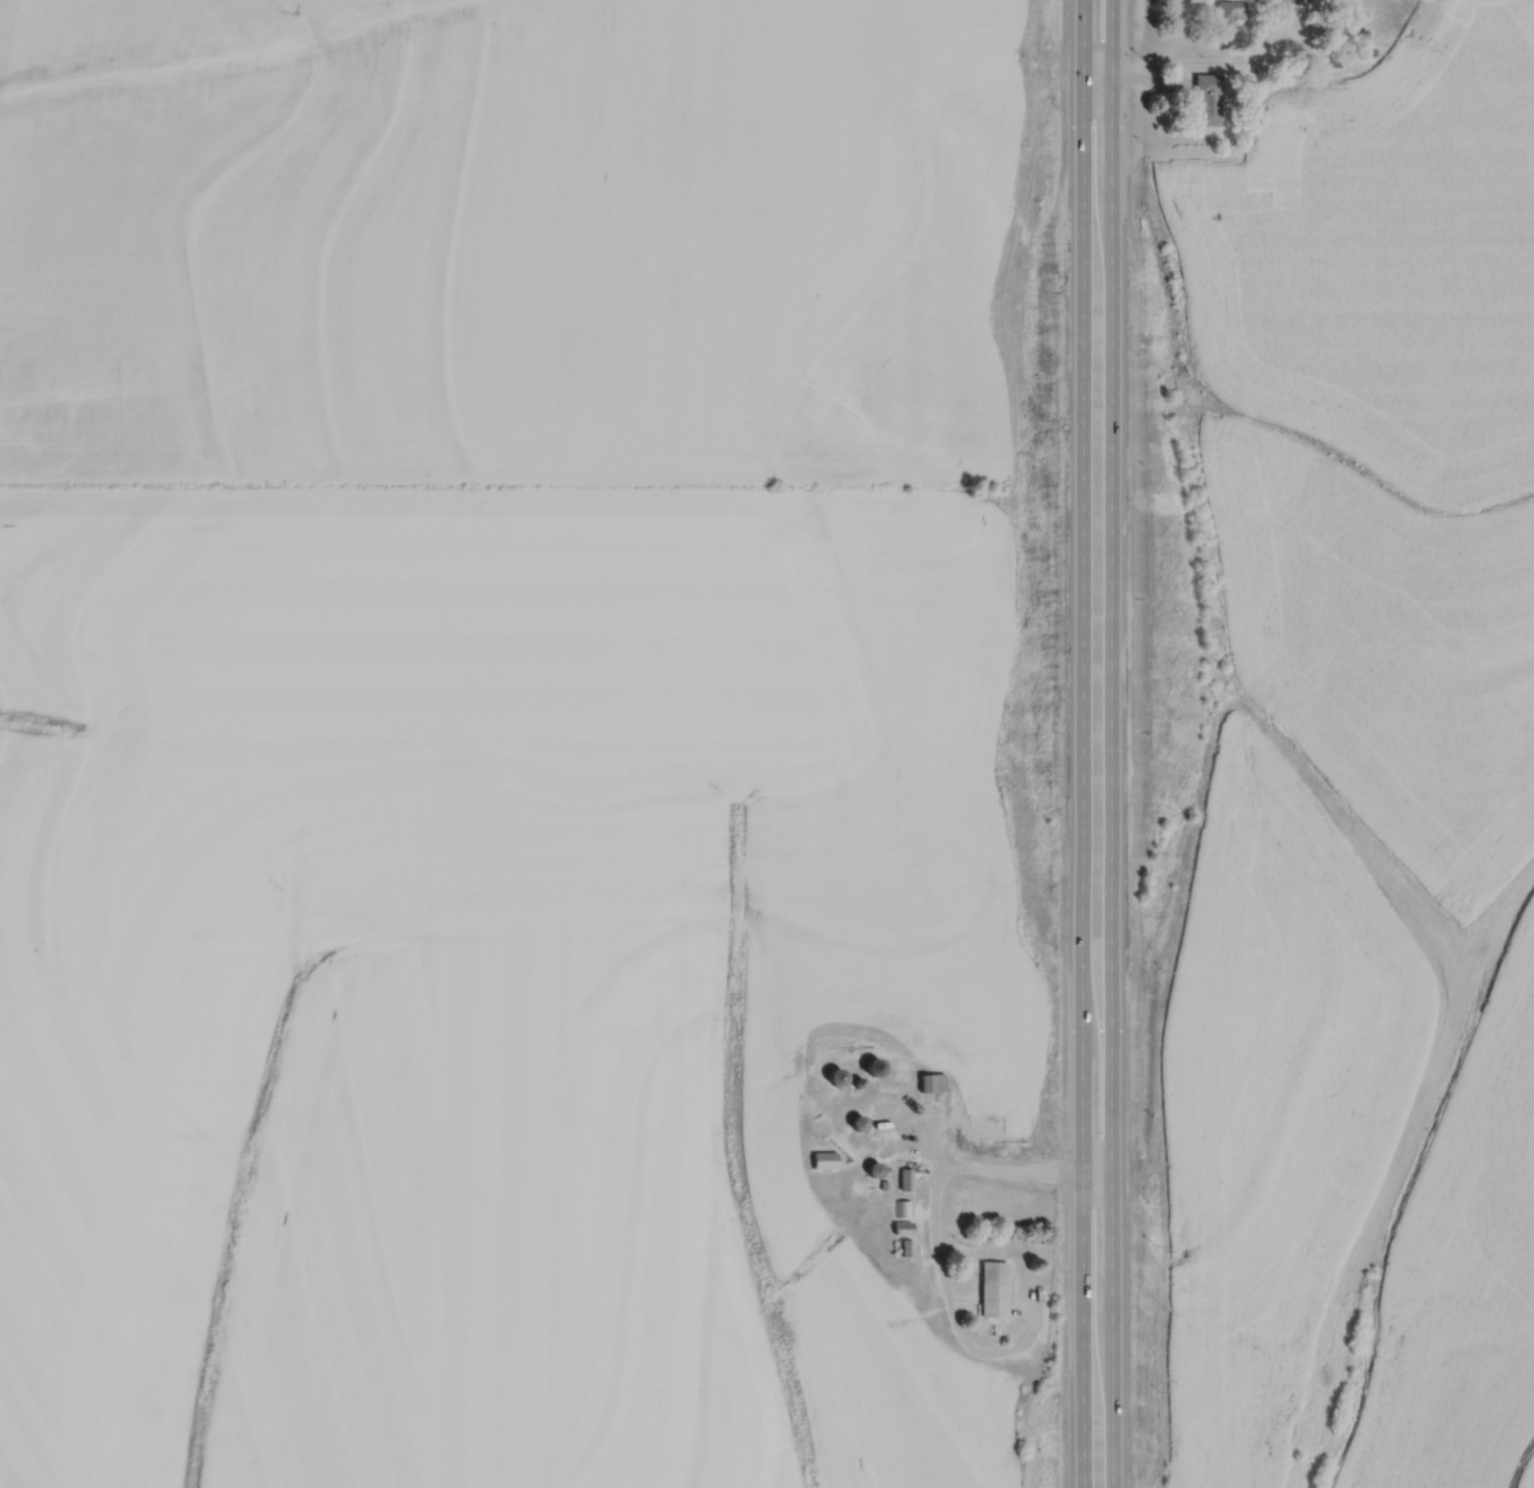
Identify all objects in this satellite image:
building: (1229, 9)
building: (1335, 23)
building: (1362, 32)
road: (1217, 60)
building: (1320, 61)
building: (1335, 62)
building: (1252, 70)
road: (1167, 83)
building: (1205, 99)
road: (1080, 743)
road: (1107, 743)
building: (868, 1066)
building: (928, 1082)
building: (892, 1085)
road: (925, 1118)
building: (854, 1122)
building: (821, 1159)
road: (941, 1166)
building: (870, 1168)
road: (1029, 1173)
building: (902, 1178)
building: (900, 1208)
building: (900, 1228)
building: (903, 1248)
building: (990, 1289)
road: (949, 1313)

